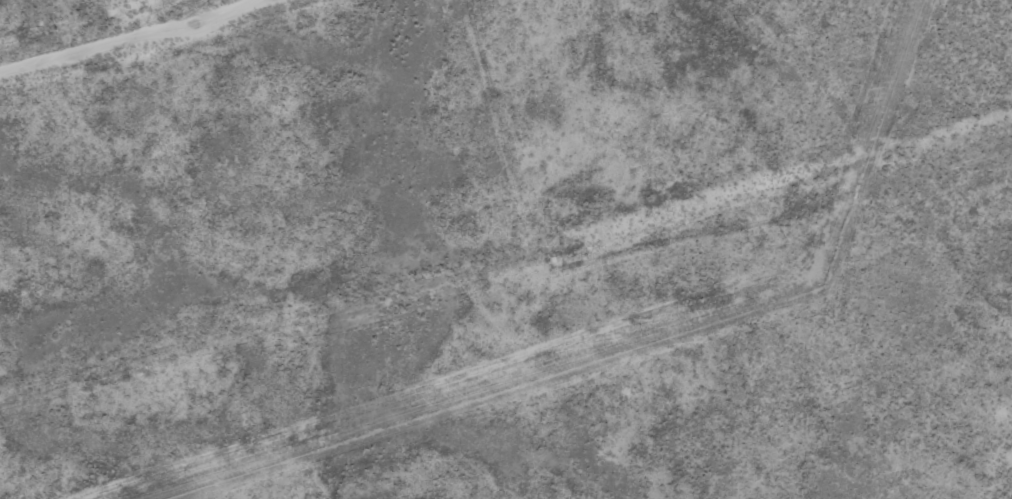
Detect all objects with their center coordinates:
road: (1006, 21)
road: (225, 43)
road: (272, 76)

